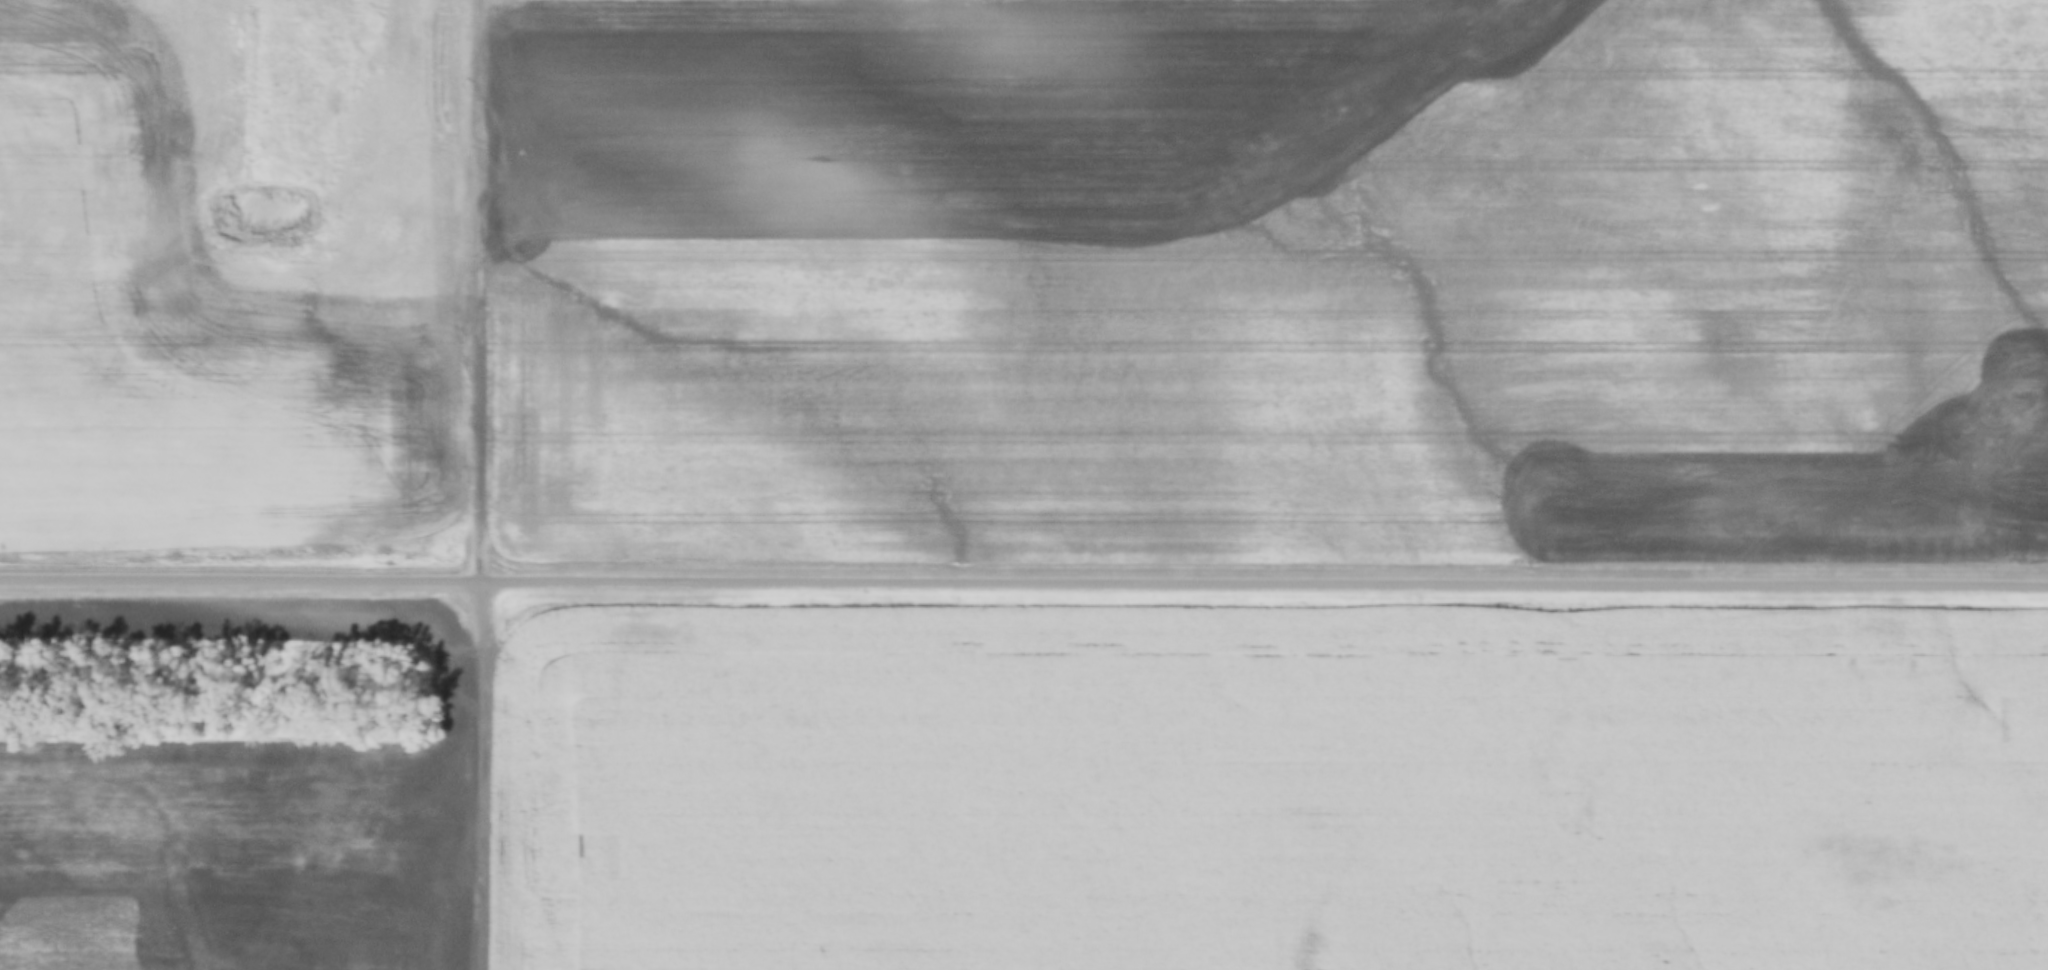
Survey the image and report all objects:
road: (1023, 577)
road: (475, 773)

